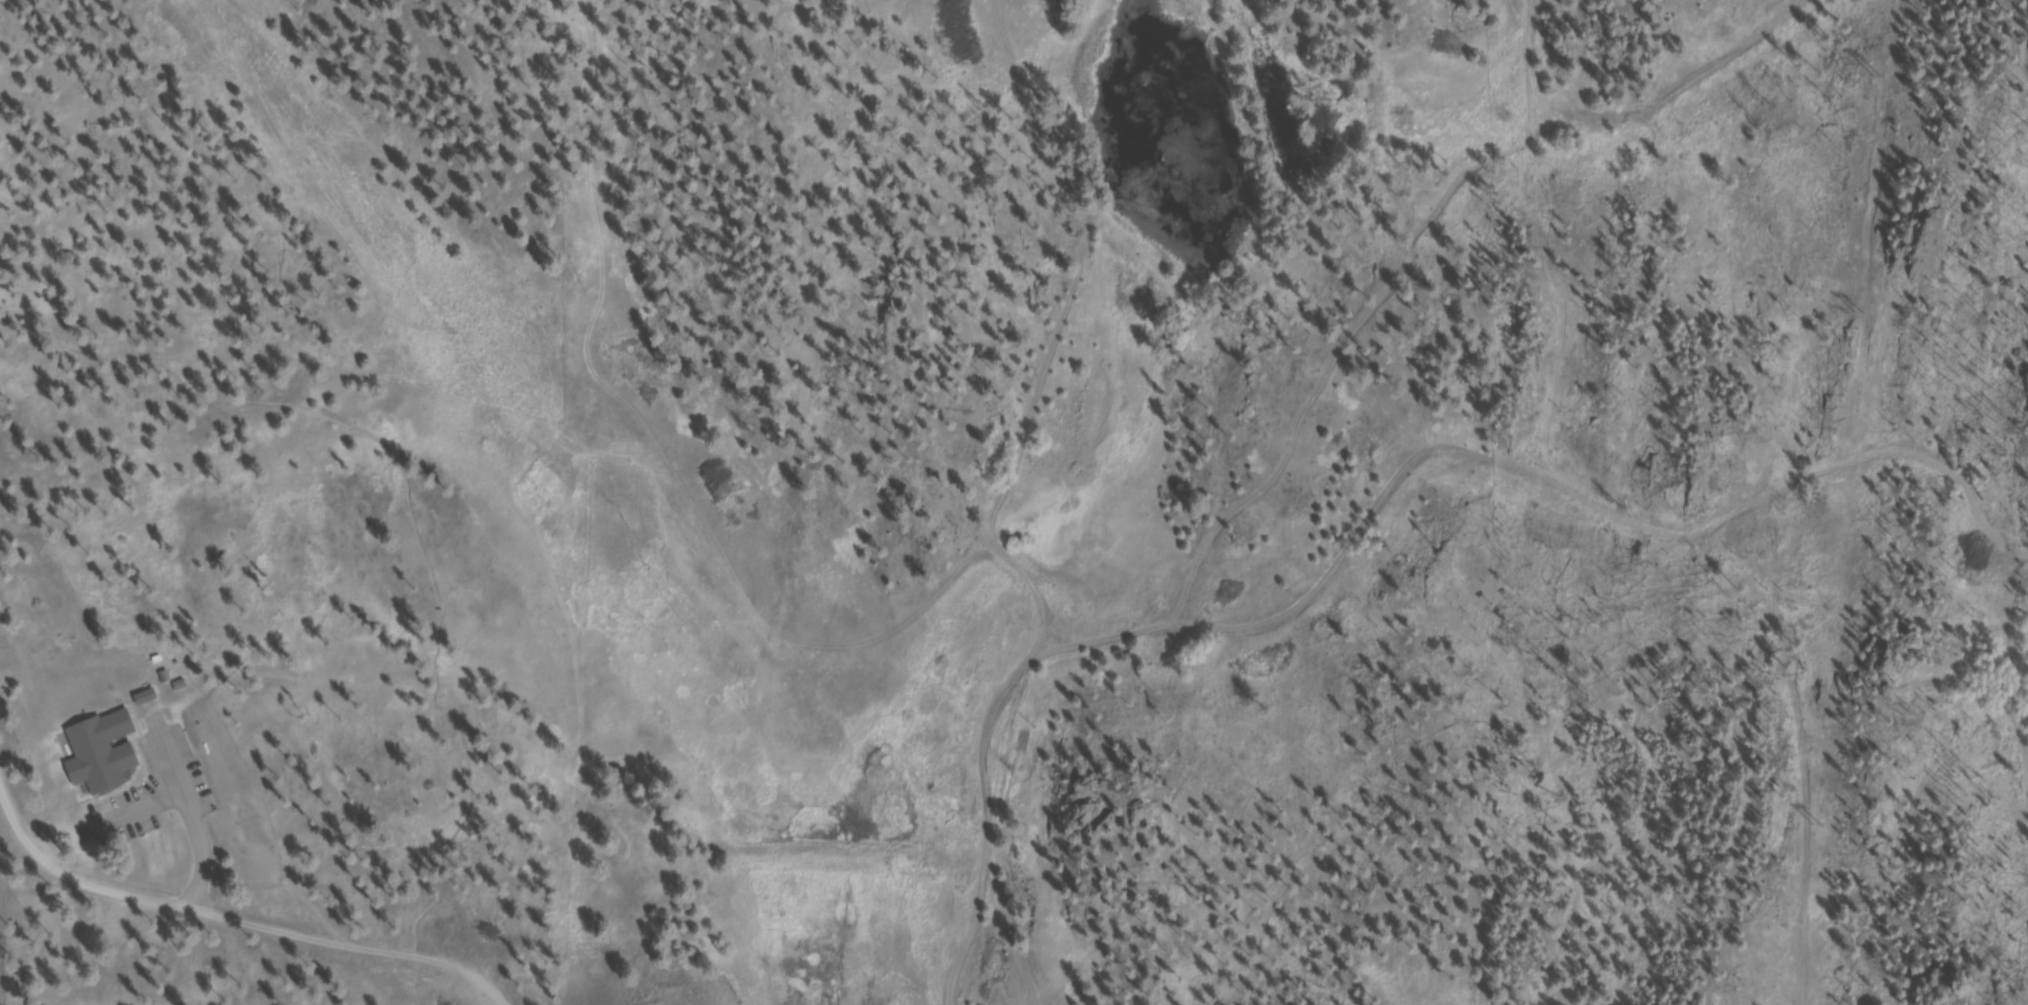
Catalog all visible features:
road: (1812, 476)
building: (149, 700)
building: (105, 755)
road: (233, 920)

